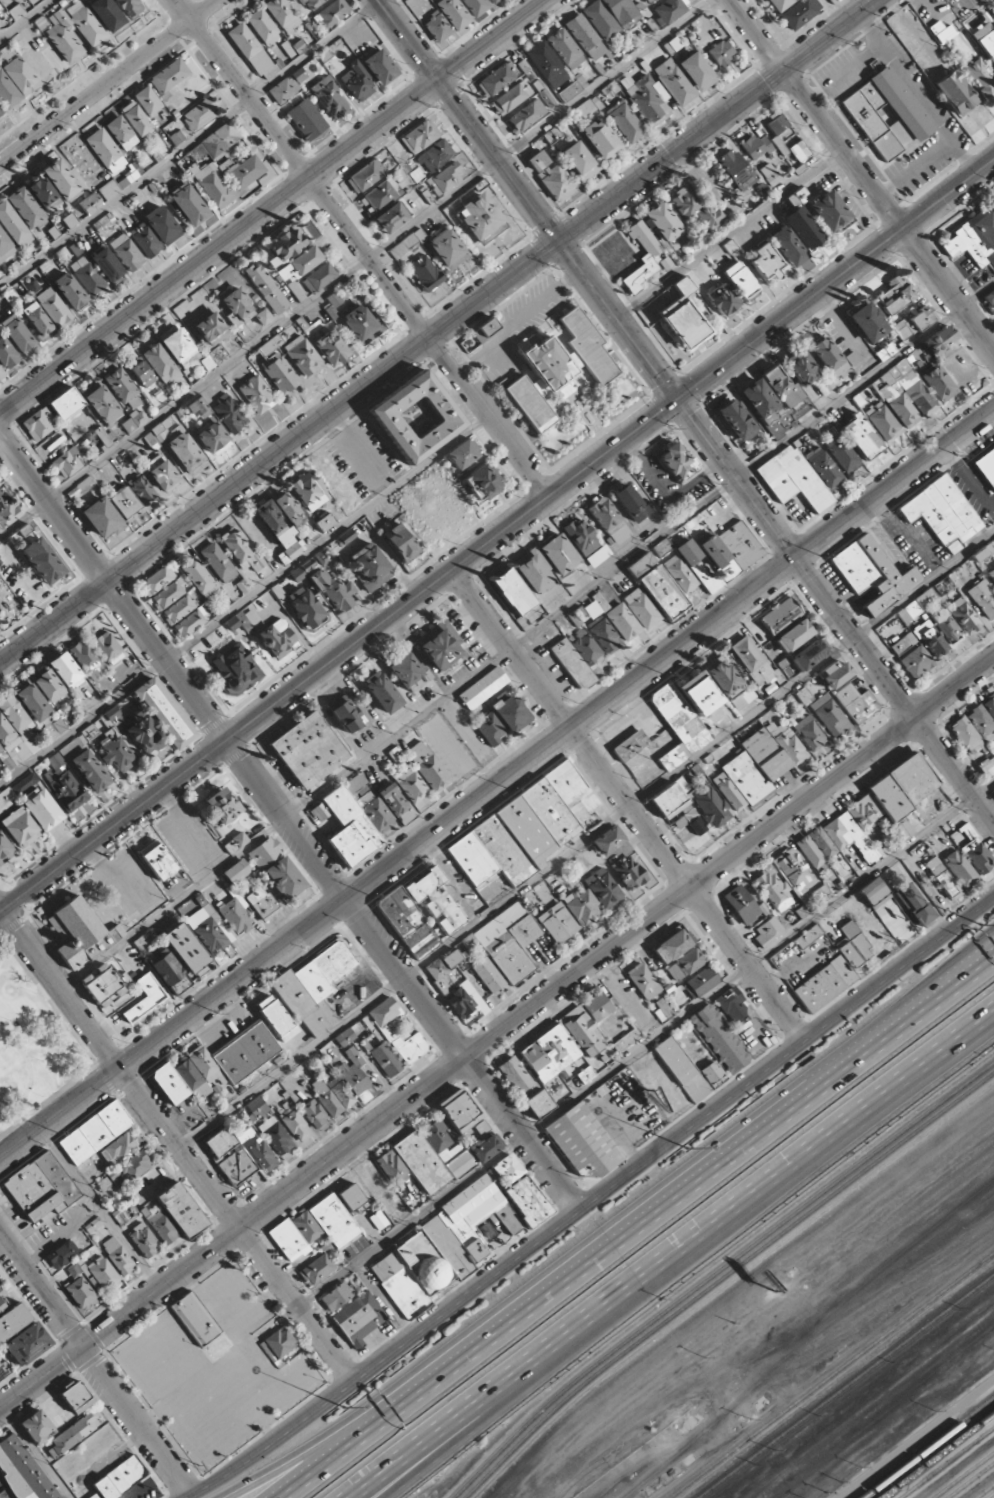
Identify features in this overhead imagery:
building: (291, 0)
building: (651, 0)
building: (493, 1)
building: (311, 3)
building: (780, 4)
building: (476, 6)
building: (129, 7)
building: (671, 9)
building: (16, 11)
building: (621, 12)
building: (453, 13)
building: (800, 13)
building: (105, 14)
building: (282, 14)
building: (331, 14)
road: (26, 20)
building: (600, 20)
building: (41, 23)
building: (84, 23)
building: (263, 27)
building: (437, 27)
building: (941, 32)
building: (62, 37)
building: (585, 37)
building: (985, 37)
road: (410, 41)
building: (673, 44)
building: (299, 46)
building: (249, 48)
building: (565, 48)
building: (722, 52)
building: (547, 65)
building: (380, 67)
building: (697, 71)
building: (168, 76)
building: (979, 77)
building: (498, 78)
building: (15, 81)
road: (109, 82)
building: (357, 82)
building: (674, 82)
building: (284, 90)
building: (569, 91)
building: (955, 93)
building: (329, 98)
building: (511, 98)
building: (546, 98)
building: (646, 98)
building: (147, 101)
building: (588, 107)
building: (1, 112)
building: (199, 114)
building: (887, 114)
building: (526, 115)
building: (306, 117)
building: (135, 118)
building: (625, 122)
building: (777, 124)
building: (121, 133)
building: (552, 135)
building: (420, 136)
building: (220, 140)
building: (601, 140)
road: (190, 144)
building: (756, 147)
building: (105, 150)
building: (799, 151)
building: (435, 155)
building: (537, 160)
building: (579, 160)
building: (737, 171)
building: (769, 174)
building: (248, 175)
building: (366, 175)
road: (862, 175)
building: (446, 178)
building: (61, 180)
building: (120, 182)
building: (556, 182)
building: (212, 185)
building: (43, 193)
building: (380, 195)
building: (797, 197)
building: (90, 203)
building: (188, 204)
building: (26, 207)
road: (274, 207)
building: (695, 208)
building: (992, 208)
building: (829, 211)
building: (391, 218)
building: (481, 218)
building: (70, 220)
building: (104, 222)
building: (662, 222)
building: (14, 225)
building: (162, 225)
building: (803, 227)
road: (730, 234)
building: (974, 239)
building: (145, 240)
building: (407, 243)
building: (287, 244)
building: (787, 246)
building: (5, 247)
road: (362, 248)
building: (447, 248)
building: (126, 252)
building: (642, 256)
building: (766, 262)
building: (665, 263)
building: (301, 264)
building: (107, 265)
road: (356, 269)
building: (426, 273)
building: (87, 277)
building: (318, 278)
building: (740, 280)
building: (266, 288)
building: (70, 292)
building: (895, 294)
building: (722, 299)
building: (990, 299)
building: (332, 304)
building: (237, 306)
building: (53, 307)
building: (263, 317)
building: (683, 317)
building: (37, 320)
building: (867, 322)
building: (914, 323)
building: (362, 324)
building: (208, 327)
building: (488, 327)
road: (438, 332)
building: (18, 334)
building: (940, 340)
building: (526, 342)
building: (269, 345)
building: (331, 348)
building: (179, 349)
building: (886, 350)
building: (6, 354)
building: (303, 356)
building: (214, 358)
building: (828, 358)
building: (854, 359)
building: (161, 364)
building: (801, 367)
building: (558, 368)
building: (142, 374)
building: (1, 375)
building: (280, 375)
building: (939, 383)
building: (123, 388)
building: (257, 394)
building: (904, 394)
building: (775, 398)
road: (677, 399)
traffic signals: (678, 400)
building: (66, 403)
building: (102, 404)
building: (198, 409)
building: (229, 414)
building: (416, 417)
building: (135, 420)
building: (736, 420)
building: (883, 422)
building: (39, 424)
building: (103, 436)
building: (861, 436)
building: (212, 438)
building: (185, 451)
building: (841, 452)
building: (463, 454)
building: (68, 462)
building: (677, 463)
building: (823, 467)
building: (986, 467)
building: (162, 473)
building: (793, 479)
building: (86, 483)
building: (482, 483)
building: (141, 487)
building: (309, 490)
building: (3, 499)
building: (630, 502)
building: (126, 504)
building: (289, 509)
building: (942, 512)
building: (8, 515)
building: (103, 518)
building: (609, 521)
building: (325, 522)
building: (274, 523)
building: (23, 536)
building: (344, 537)
road: (497, 537)
building: (581, 537)
building: (400, 543)
building: (662, 547)
building: (241, 551)
building: (290, 552)
building: (984, 552)
building: (559, 554)
building: (721, 555)
building: (598, 556)
building: (321, 557)
building: (43, 561)
building: (218, 562)
building: (640, 564)
building: (370, 566)
building: (303, 569)
building: (533, 572)
building: (680, 573)
building: (872, 573)
building: (991, 574)
building: (198, 577)
building: (156, 580)
building: (334, 590)
building: (277, 592)
building: (512, 592)
building: (663, 593)
building: (167, 595)
building: (983, 598)
building: (917, 605)
building: (641, 608)
building: (178, 609)
building: (308, 609)
building: (780, 615)
building: (963, 615)
building: (614, 616)
building: (254, 619)
building: (189, 623)
building: (945, 625)
building: (604, 635)
building: (794, 635)
road: (529, 638)
building: (930, 639)
building: (279, 641)
building: (903, 643)
building: (439, 645)
building: (202, 647)
building: (107, 648)
building: (809, 655)
building: (578, 658)
building: (87, 659)
building: (752, 662)
building: (916, 662)
building: (235, 669)
building: (65, 670)
building: (408, 672)
building: (836, 674)
building: (722, 677)
building: (48, 684)
building: (482, 688)
building: (381, 692)
building: (698, 693)
building: (742, 698)
building: (33, 702)
building: (856, 703)
building: (989, 704)
building: (165, 712)
building: (510, 713)
building: (16, 714)
building: (345, 714)
building: (828, 715)
building: (679, 717)
building: (982, 723)
building: (55, 729)
building: (135, 729)
building: (490, 729)
building: (6, 732)
building: (809, 733)
building: (968, 738)
building: (78, 741)
building: (630, 745)
building: (1, 749)
building: (308, 750)
building: (116, 753)
building: (395, 753)
building: (762, 761)
building: (663, 765)
building: (427, 766)
building: (987, 766)
building: (90, 770)
road: (954, 770)
building: (357, 782)
building: (64, 784)
building: (411, 785)
road: (497, 785)
building: (993, 787)
building: (728, 792)
building: (893, 796)
building: (7, 800)
building: (397, 803)
road: (628, 805)
building: (710, 805)
building: (222, 806)
building: (677, 807)
building: (42, 808)
road: (289, 823)
building: (354, 823)
building: (19, 827)
building: (524, 828)
road: (583, 836)
building: (848, 836)
building: (607, 840)
building: (235, 843)
building: (882, 847)
building: (816, 848)
building: (4, 849)
building: (972, 849)
building: (264, 852)
building: (157, 860)
building: (959, 868)
building: (794, 871)
building: (236, 872)
building: (628, 873)
building: (284, 878)
building: (942, 878)
building: (604, 889)
building: (773, 889)
building: (819, 894)
building: (435, 900)
building: (261, 903)
building: (741, 904)
building: (914, 904)
building: (582, 906)
building: (236, 916)
building: (891, 916)
building: (407, 923)
building: (558, 923)
building: (77, 932)
building: (768, 933)
building: (212, 935)
building: (808, 936)
building: (145, 939)
building: (469, 942)
building: (673, 945)
building: (860, 946)
building: (513, 949)
building: (187, 950)
building: (849, 953)
building: (685, 964)
building: (444, 970)
building: (169, 972)
building: (488, 975)
road: (948, 976)
building: (643, 981)
building: (700, 982)
building: (825, 984)
building: (103, 985)
building: (314, 987)
building: (145, 999)
building: (465, 1000)
building: (597, 1006)
building: (732, 1008)
building: (662, 1009)
building: (275, 1018)
building: (581, 1031)
building: (397, 1032)
road: (497, 1035)
building: (345, 1037)
building: (719, 1038)
road: (644, 1040)
building: (626, 1041)
park: (33, 1047)
building: (549, 1053)
building: (382, 1055)
building: (235, 1056)
building: (679, 1067)
road: (31, 1070)
building: (711, 1072)
building: (586, 1074)
building: (515, 1075)
building: (356, 1076)
road: (4, 1077)
building: (192, 1079)
building: (169, 1083)
building: (343, 1094)
building: (326, 1098)
building: (538, 1103)
building: (256, 1109)
building: (459, 1110)
building: (314, 1114)
building: (295, 1124)
building: (481, 1127)
building: (95, 1132)
building: (275, 1136)
building: (582, 1142)
road: (176, 1144)
building: (485, 1147)
road: (731, 1147)
building: (118, 1149)
building: (256, 1149)
building: (433, 1155)
building: (230, 1156)
road: (800, 1159)
building: (134, 1166)
building: (391, 1167)
building: (507, 1169)
building: (41, 1187)
building: (351, 1197)
road: (592, 1200)
building: (527, 1201)
building: (181, 1210)
building: (123, 1214)
building: (333, 1220)
building: (378, 1220)
building: (93, 1225)
building: (163, 1227)
building: (295, 1234)
building: (144, 1241)
building: (440, 1249)
building: (62, 1254)
building: (117, 1256)
building: (316, 1269)
railway: (715, 1269)
building: (101, 1274)
railway: (722, 1276)
building: (80, 1294)
building: (336, 1297)
building: (2, 1299)
building: (359, 1318)
building: (195, 1319)
building: (12, 1321)
building: (278, 1343)
building: (27, 1344)
road: (95, 1367)
building: (4, 1370)
railway: (831, 1375)
railway: (845, 1385)
building: (76, 1397)
road: (479, 1402)
road: (2, 1406)
road: (500, 1406)
road: (375, 1422)
road: (350, 1425)
building: (36, 1426)
building: (72, 1435)
railway: (926, 1446)
railway: (936, 1454)
railway: (945, 1461)
building: (23, 1470)
railway: (961, 1473)
building: (119, 1479)
railway: (970, 1480)
railway: (982, 1489)
railway: (993, 1497)

